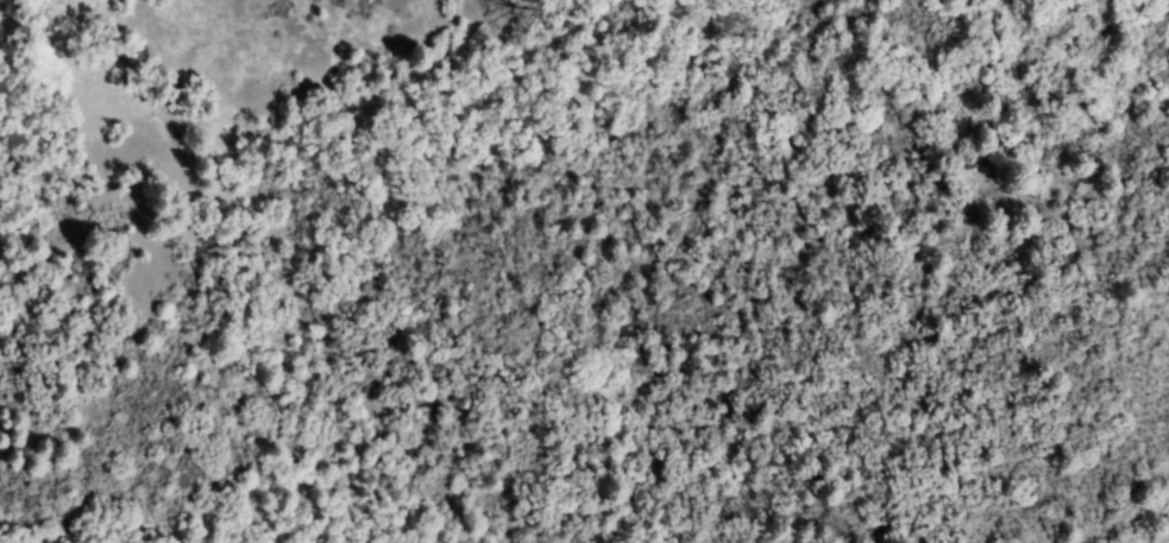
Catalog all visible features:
road: (346, 390)

